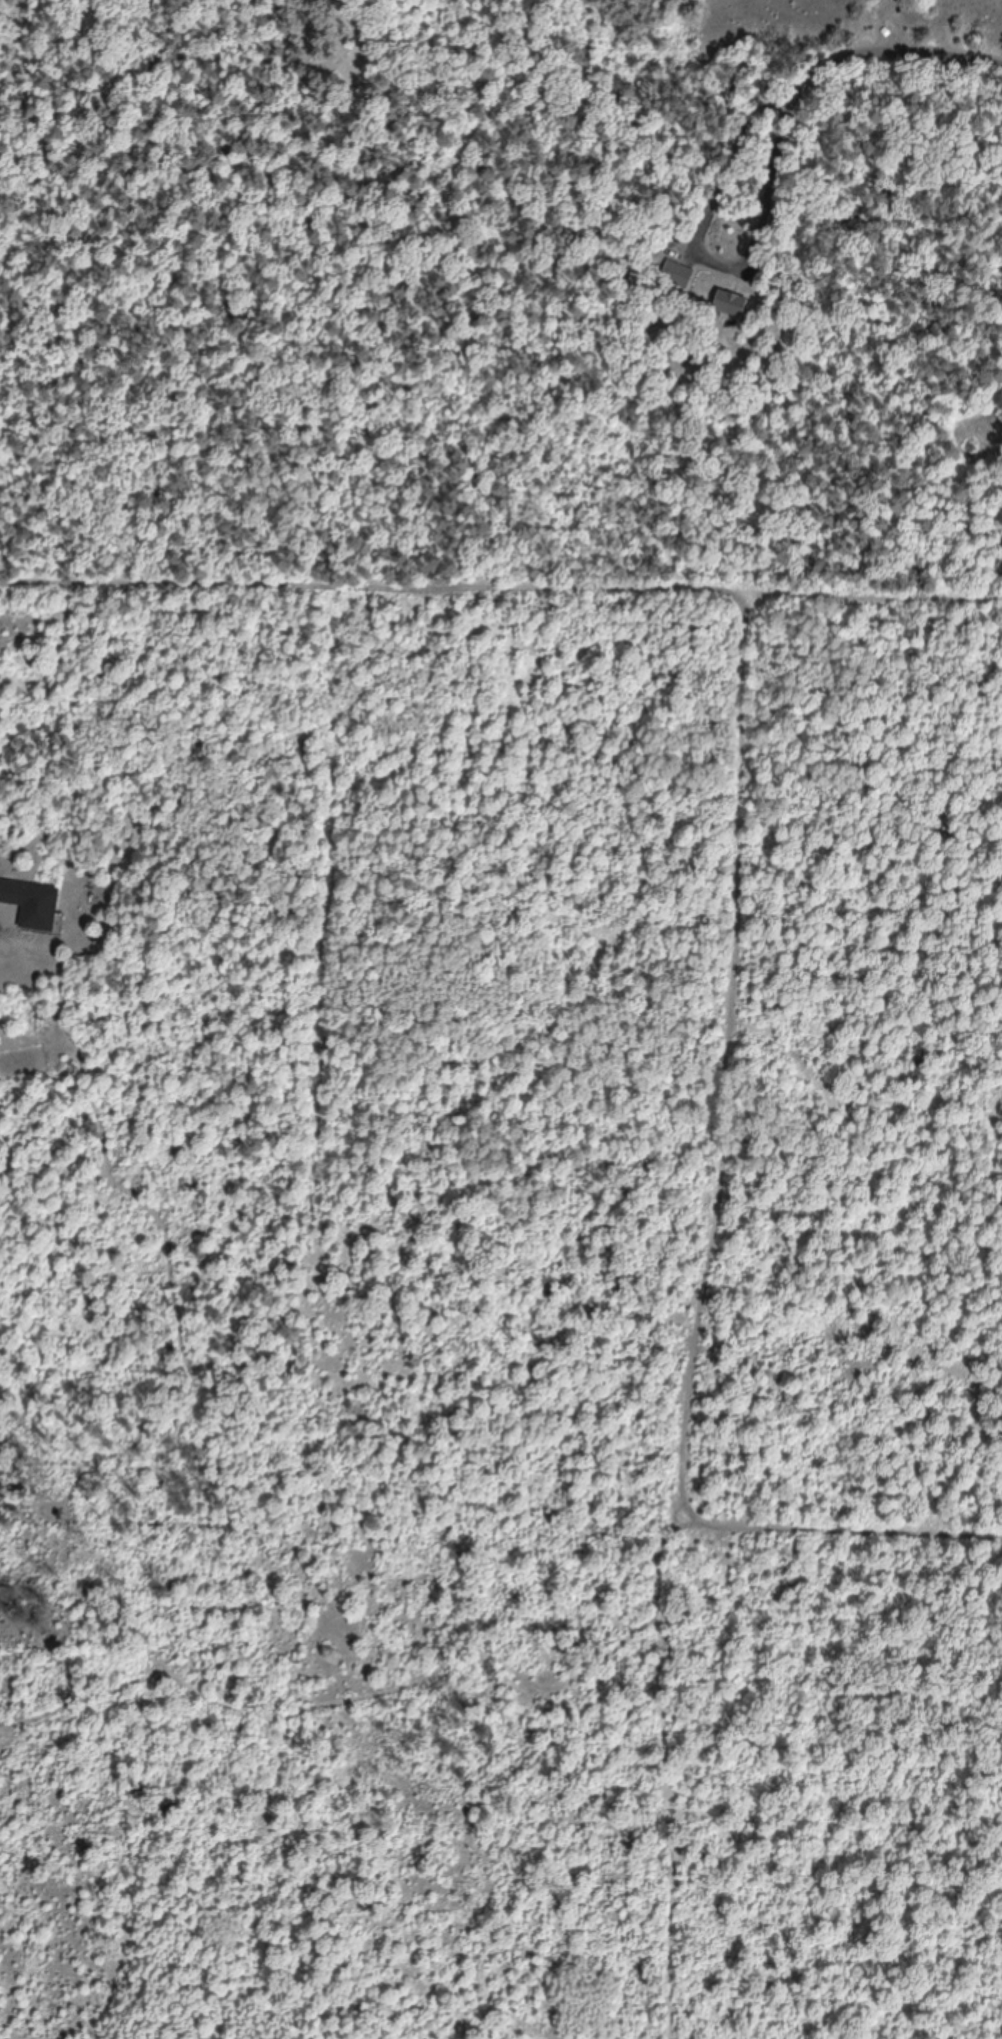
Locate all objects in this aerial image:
road: (861, 253)
building: (679, 274)
building: (734, 303)
road: (948, 347)
road: (501, 595)
building: (34, 904)
road: (690, 1216)

